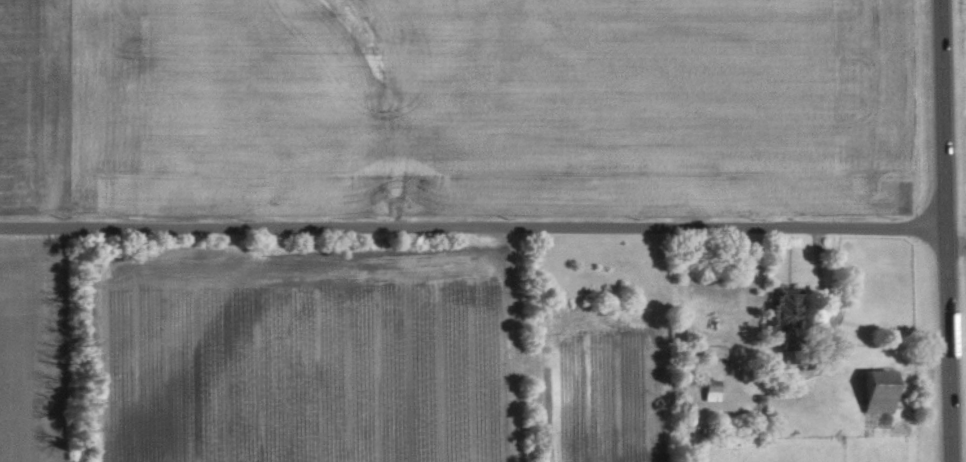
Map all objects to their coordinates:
road: (473, 226)
road: (946, 230)
building: (778, 315)
building: (874, 391)

